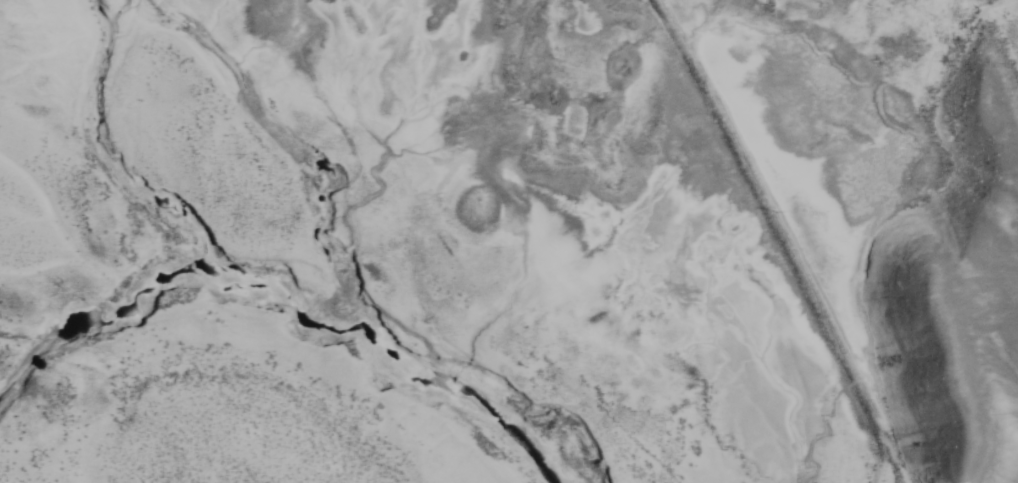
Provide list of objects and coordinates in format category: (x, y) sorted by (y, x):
river: (307, 292)
river: (96, 311)

